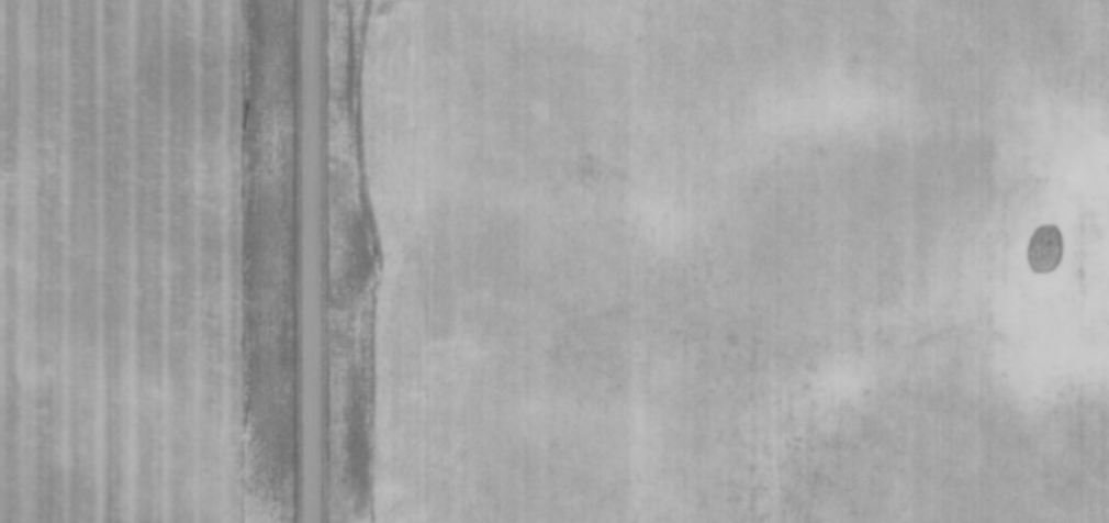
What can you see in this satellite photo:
road: (311, 261)

